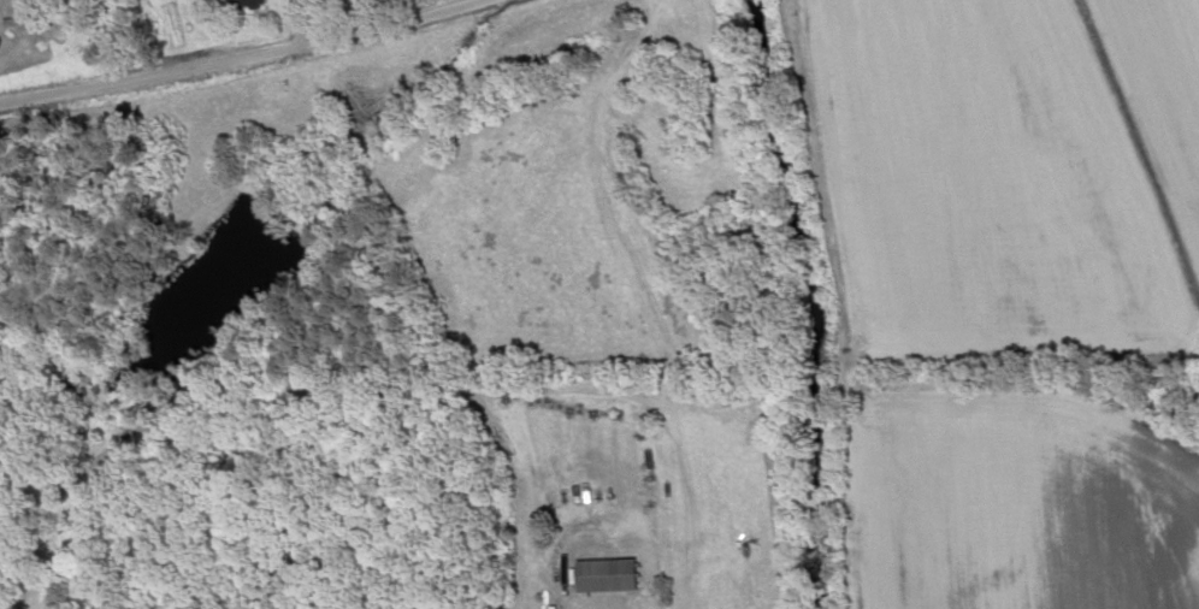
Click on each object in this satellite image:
building: (240, 4)
road: (247, 54)

